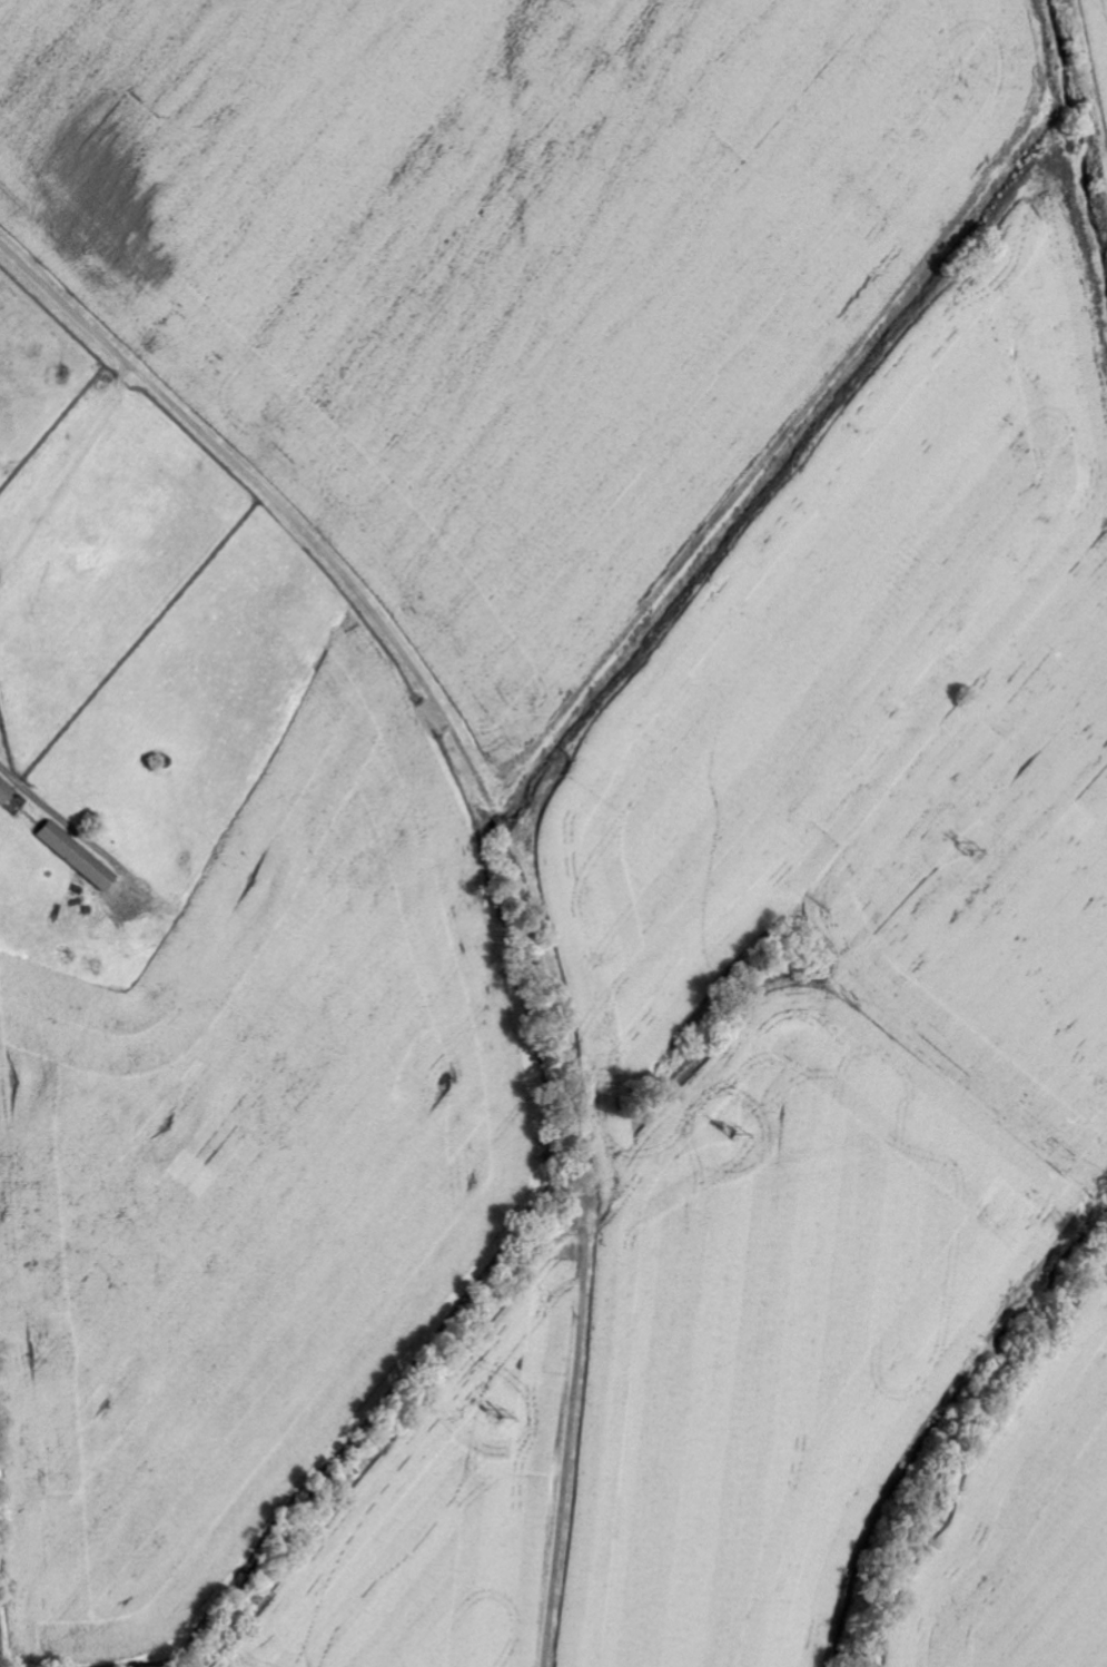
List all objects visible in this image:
building: (4, 790)
road: (53, 822)
building: (73, 855)

